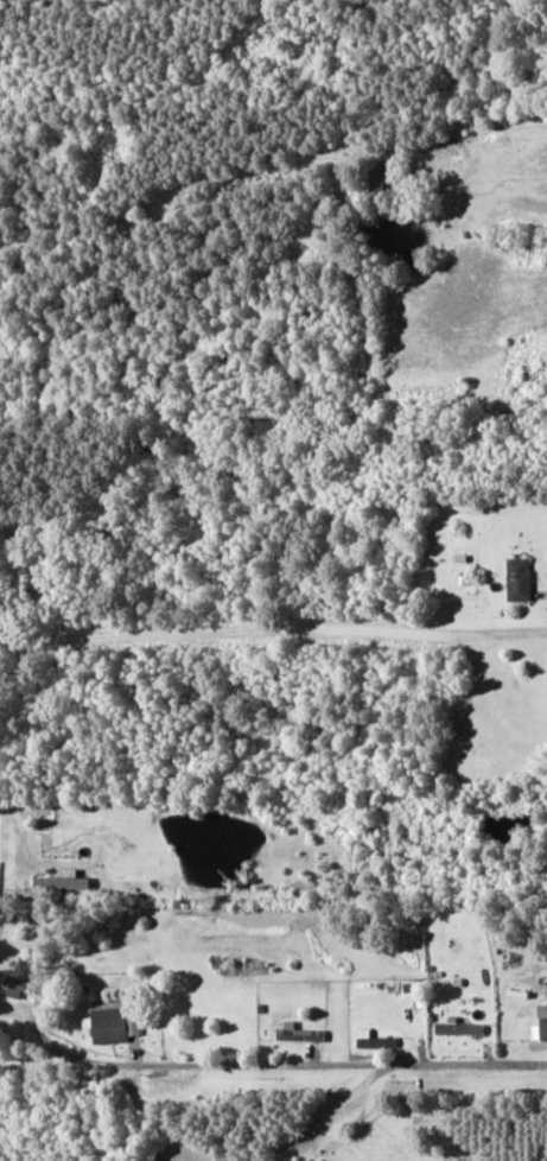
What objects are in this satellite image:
building: (379, 176)
building: (516, 577)
road: (273, 630)
road: (20, 821)
building: (63, 881)
building: (19, 985)
building: (114, 1023)
building: (541, 1024)
building: (457, 1026)
building: (300, 1032)
building: (375, 1039)
road: (273, 1065)

